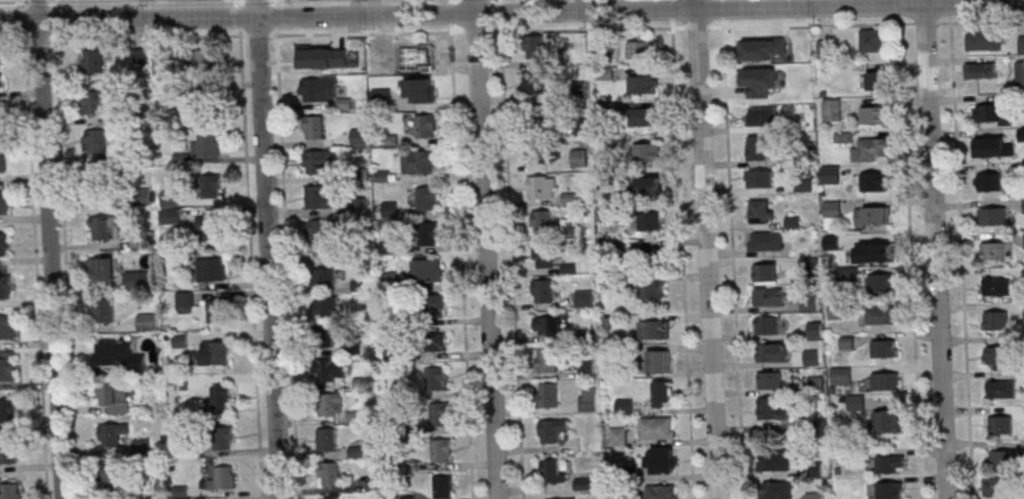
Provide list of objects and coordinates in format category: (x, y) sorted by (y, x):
road: (14, 1)
road: (38, 1)
road: (51, 1)
road: (450, 1)
road: (275, 2)
road: (23, 4)
road: (54, 5)
parking lot: (144, 9)
road: (512, 13)
building: (983, 40)
building: (870, 41)
building: (1020, 44)
building: (534, 46)
building: (753, 47)
building: (798, 48)
building: (640, 51)
building: (421, 54)
building: (310, 56)
building: (139, 57)
building: (1, 58)
building: (202, 60)
building: (93, 61)
building: (161, 67)
building: (980, 71)
building: (1020, 72)
building: (749, 79)
building: (534, 81)
building: (875, 81)
building: (1, 83)
building: (641, 85)
building: (318, 89)
building: (424, 90)
building: (94, 102)
building: (832, 110)
building: (987, 113)
building: (872, 115)
building: (538, 116)
building: (643, 117)
building: (762, 117)
building: (314, 126)
building: (424, 127)
building: (205, 146)
building: (98, 147)
building: (757, 147)
building: (874, 147)
building: (989, 148)
building: (538, 150)
building: (646, 153)
building: (577, 157)
building: (2, 161)
building: (319, 162)
building: (419, 162)
building: (760, 179)
building: (873, 183)
building: (990, 183)
building: (646, 186)
building: (210, 187)
building: (542, 187)
building: (319, 199)
building: (426, 199)
building: (1023, 205)
building: (3, 207)
building: (832, 208)
building: (390, 209)
building: (761, 211)
building: (875, 216)
building: (991, 217)
building: (542, 221)
building: (651, 222)
building: (102, 227)
building: (210, 229)
building: (428, 235)
building: (328, 238)
building: (139, 240)
building: (765, 241)
building: (4, 244)
road: (51, 249)
road: (268, 249)
road: (487, 249)
road: (511, 249)
road: (682, 249)
road: (707, 249)
road: (733, 249)
road: (936, 249)
road: (961, 249)
road: (462, 250)
building: (874, 250)
building: (993, 251)
building: (544, 256)
building: (101, 269)
building: (428, 270)
building: (211, 271)
building: (766, 274)
building: (324, 277)
building: (137, 281)
building: (881, 283)
building: (995, 287)
building: (5, 288)
building: (543, 290)
building: (652, 290)
building: (769, 296)
building: (584, 298)
building: (184, 303)
building: (324, 304)
building: (431, 306)
building: (1023, 310)
building: (104, 311)
building: (217, 311)
building: (878, 316)
building: (996, 321)
building: (147, 322)
building: (548, 325)
building: (767, 326)
building: (7, 327)
building: (655, 330)
building: (322, 336)
building: (180, 340)
building: (433, 340)
building: (883, 350)
building: (214, 353)
building: (771, 353)
building: (119, 355)
building: (1000, 356)
building: (546, 360)
building: (658, 362)
building: (7, 366)
building: (328, 369)
building: (841, 375)
building: (435, 378)
building: (886, 380)
building: (770, 381)
building: (1001, 390)
building: (549, 394)
building: (662, 394)
building: (221, 396)
building: (113, 397)
building: (588, 399)
building: (330, 404)
building: (624, 405)
building: (8, 410)
building: (771, 410)
building: (439, 414)
building: (887, 421)
building: (1003, 425)
building: (658, 427)
building: (552, 430)
building: (111, 436)
building: (620, 436)
building: (223, 437)
building: (327, 439)
building: (441, 450)
building: (9, 451)
building: (774, 460)
building: (1003, 460)
building: (661, 461)
building: (888, 465)
building: (813, 469)
building: (553, 470)
building: (329, 474)
building: (116, 477)
building: (223, 478)
building: (584, 484)
building: (443, 486)
building: (999, 488)
building: (774, 490)
building: (889, 490)
building: (11, 491)
building: (661, 492)
building: (814, 495)
building: (332, 498)
building: (561, 498)

